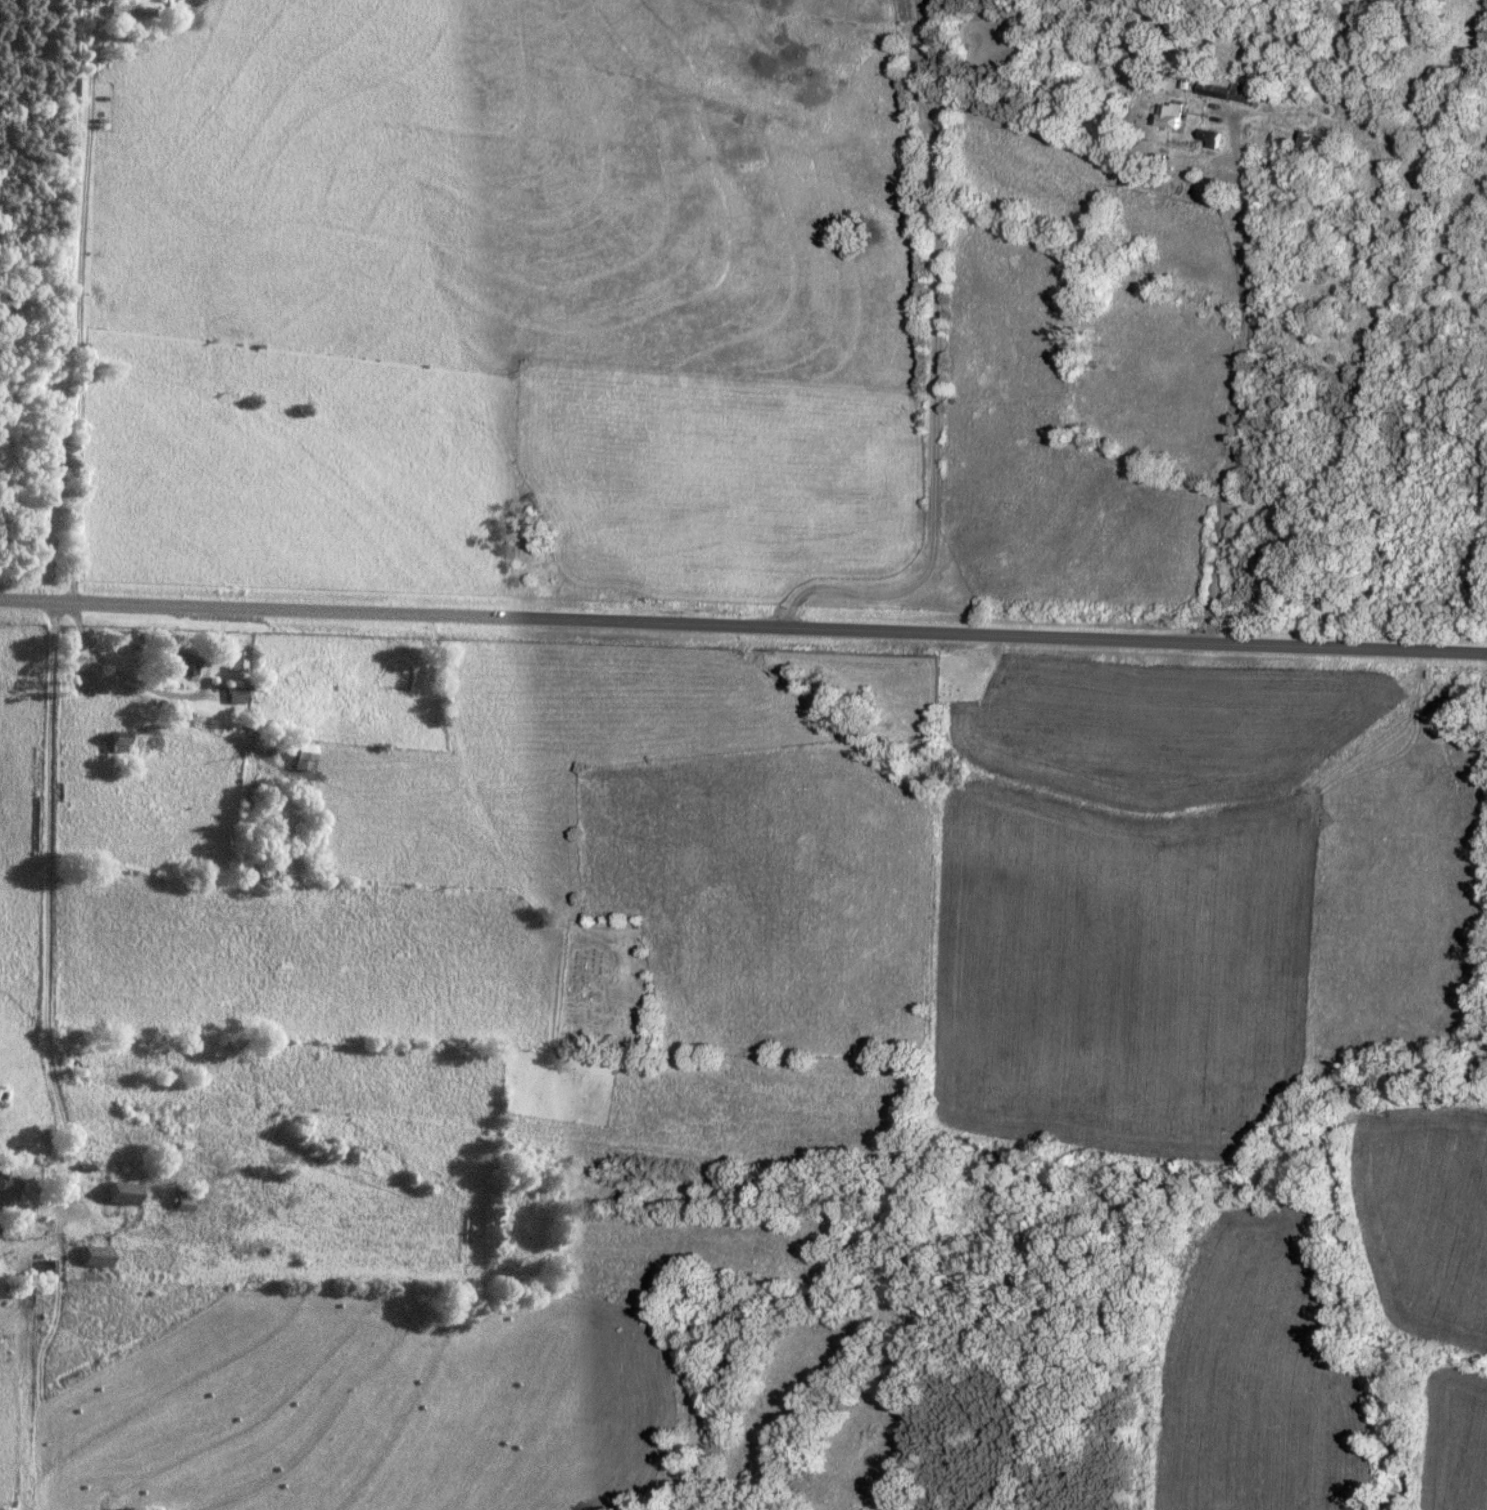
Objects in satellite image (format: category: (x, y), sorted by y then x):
building: (133, 11)
building: (1221, 94)
building: (1169, 118)
building: (1208, 139)
road: (1240, 362)
road: (935, 369)
road: (84, 402)
road: (743, 624)
building: (239, 662)
building: (181, 664)
building: (238, 692)
building: (119, 744)
building: (307, 758)
road: (52, 943)
park: (603, 990)
building: (8, 1188)
building: (124, 1194)
building: (184, 1201)
building: (97, 1257)
building: (104, 1312)

